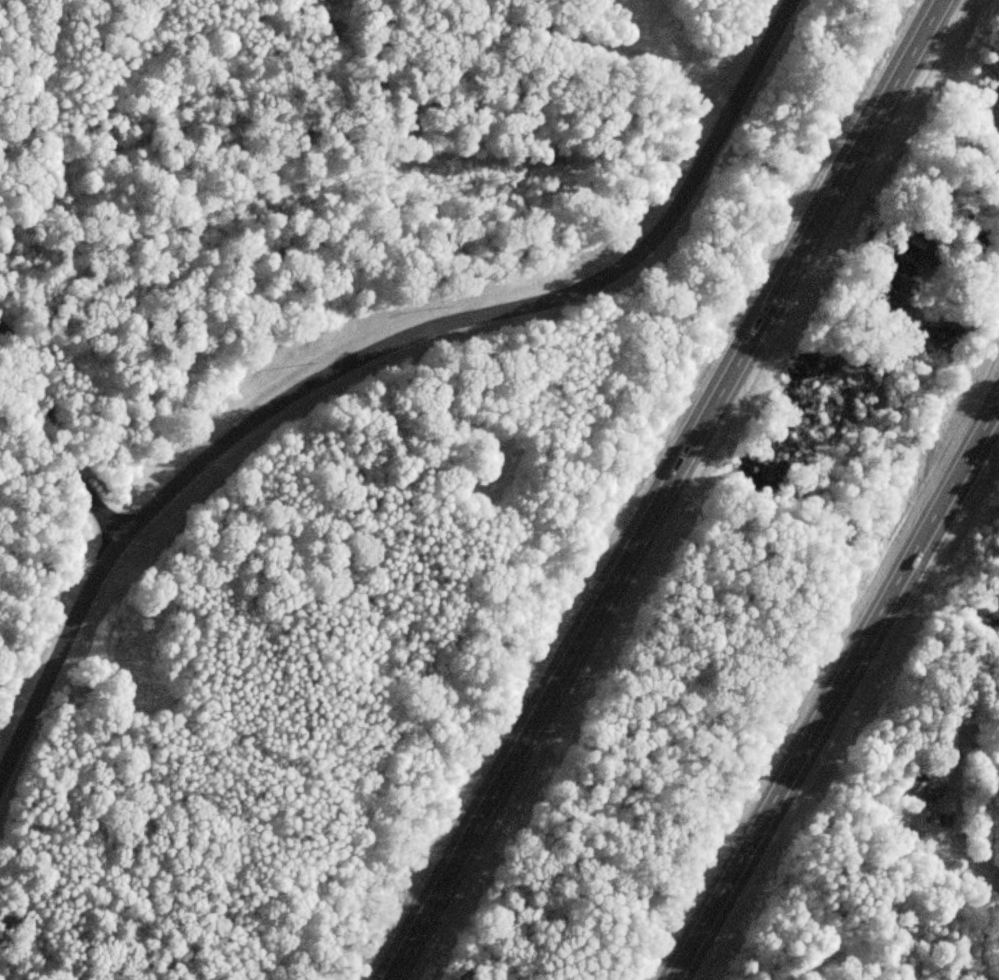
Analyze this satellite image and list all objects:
road: (602, 41)
road: (371, 340)
road: (57, 433)
road: (644, 489)
road: (818, 669)
building: (922, 787)
road: (963, 812)

